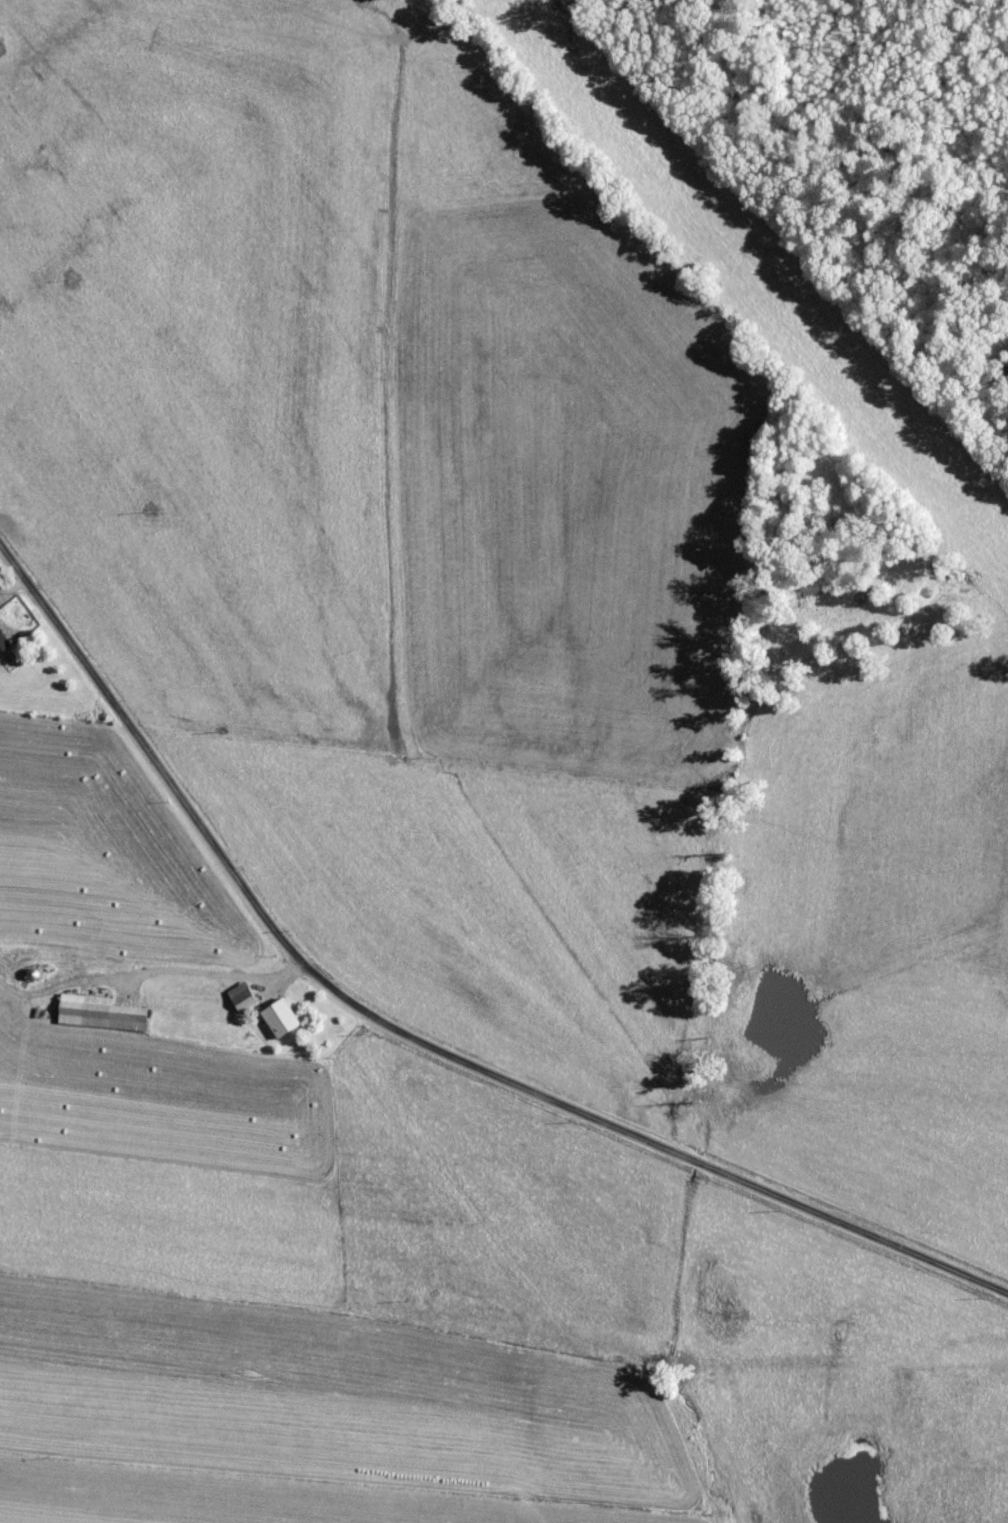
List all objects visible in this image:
building: (1003, 369)
building: (236, 996)
building: (93, 1012)
building: (274, 1017)
road: (411, 1035)

